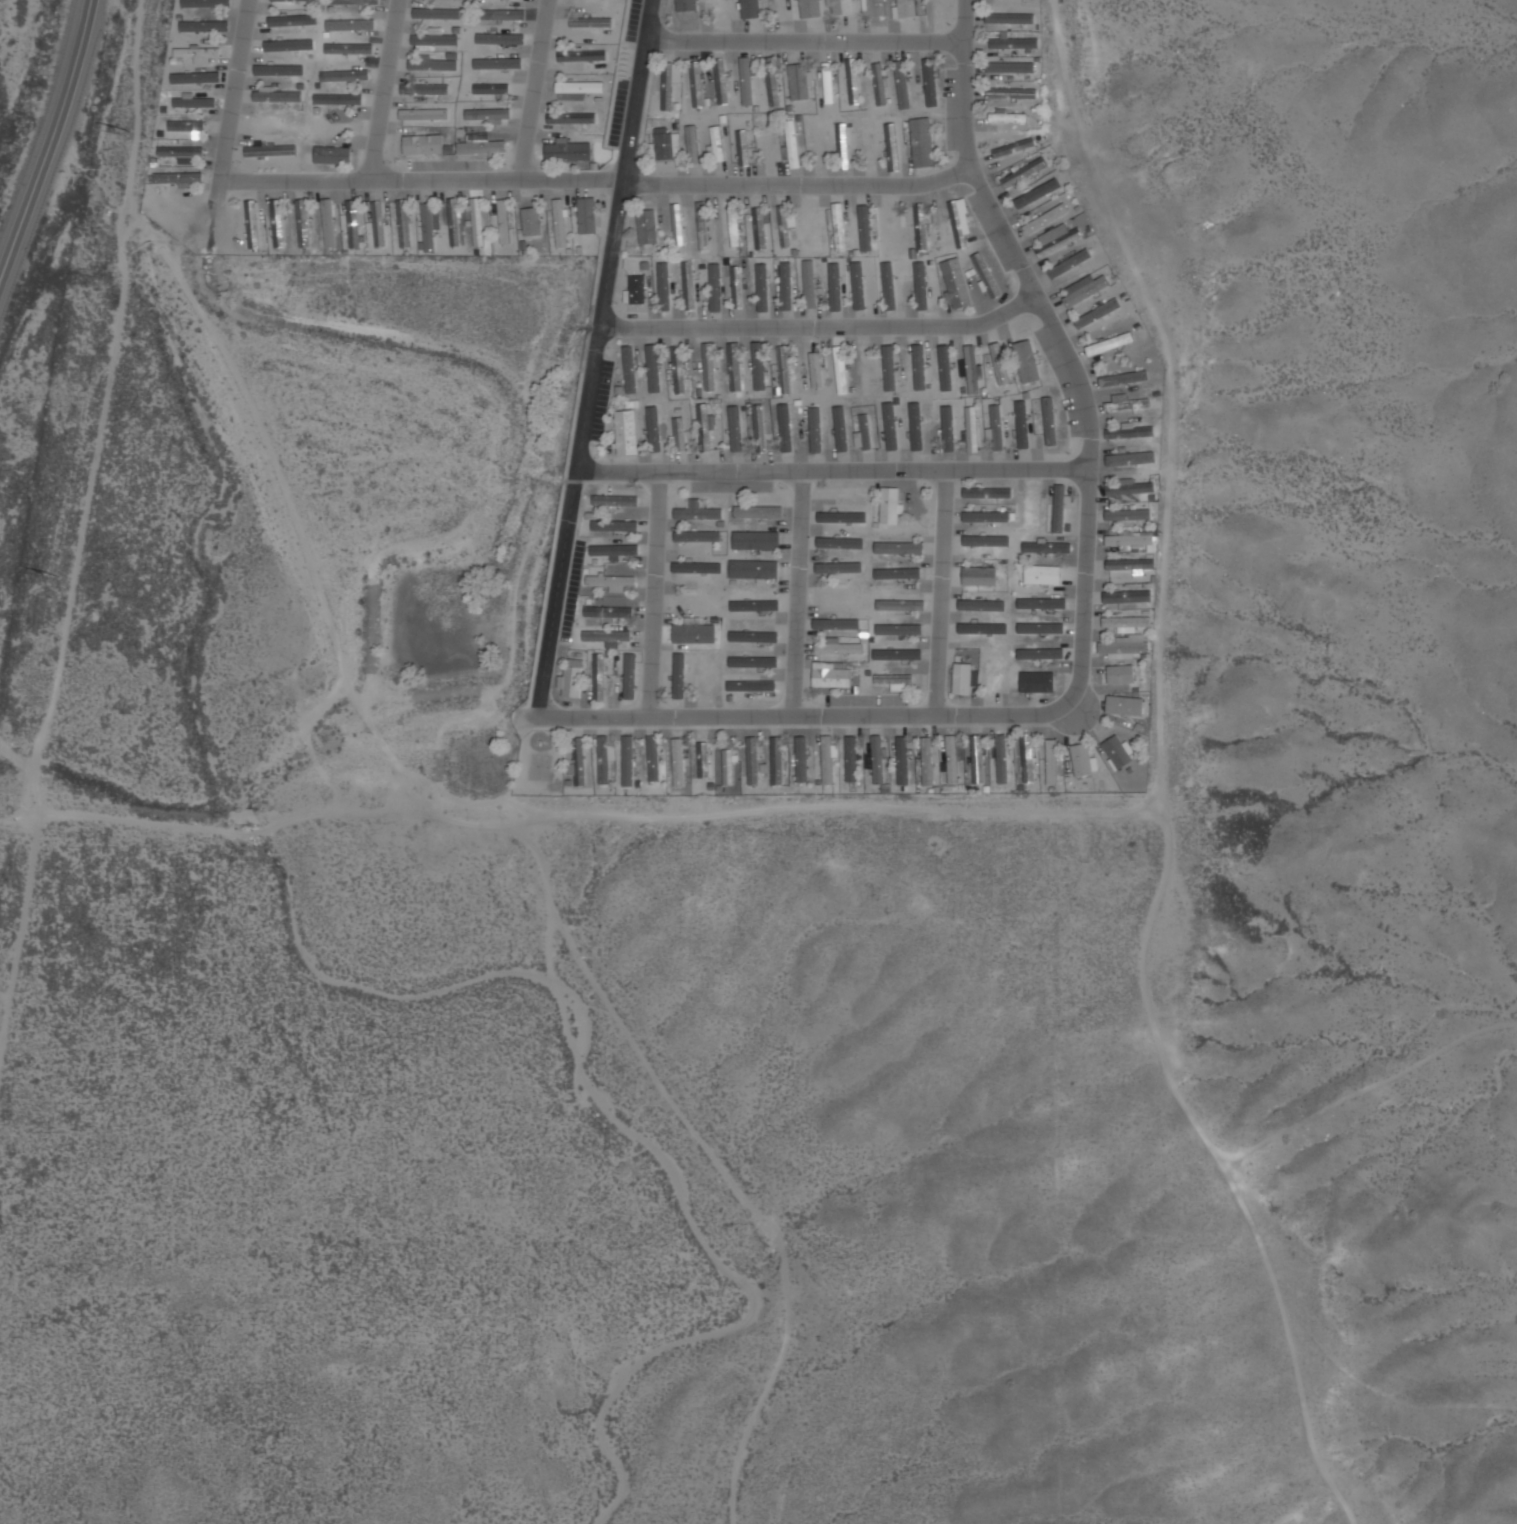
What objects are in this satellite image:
building: (295, 1)
building: (355, 2)
building: (876, 8)
building: (751, 9)
building: (720, 11)
building: (441, 13)
building: (502, 15)
building: (1011, 18)
building: (595, 23)
building: (441, 32)
building: (432, 38)
road: (812, 38)
building: (1015, 43)
building: (586, 55)
building: (432, 63)
building: (1011, 67)
building: (853, 80)
building: (772, 81)
building: (799, 83)
building: (880, 83)
building: (828, 84)
building: (666, 86)
building: (489, 88)
building: (424, 89)
road: (532, 89)
road: (233, 90)
road: (385, 90)
building: (1012, 93)
building: (280, 96)
building: (338, 98)
building: (491, 113)
building: (423, 114)
building: (1009, 117)
building: (268, 126)
power tower: (126, 133)
road: (51, 144)
building: (422, 144)
building: (481, 144)
building: (792, 144)
building: (768, 145)
building: (666, 146)
building: (842, 146)
building: (743, 147)
building: (923, 147)
building: (1013, 148)
building: (568, 151)
road: (598, 179)
building: (481, 214)
building: (381, 215)
building: (358, 216)
building: (587, 216)
building: (532, 222)
building: (560, 223)
building: (409, 225)
building: (734, 225)
building: (784, 225)
building: (647, 226)
building: (840, 227)
building: (921, 227)
building: (760, 228)
building: (458, 230)
building: (957, 283)
building: (809, 284)
building: (636, 289)
road: (821, 324)
building: (1108, 338)
road: (1064, 349)
road: (594, 358)
building: (1027, 362)
building: (1000, 364)
building: (735, 369)
building: (678, 370)
building: (760, 370)
building: (784, 370)
building: (841, 370)
building: (971, 370)
building: (1050, 421)
building: (1023, 422)
building: (997, 426)
building: (703, 427)
building: (760, 428)
building: (785, 428)
building: (972, 429)
building: (626, 432)
building: (679, 434)
road: (836, 470)
building: (1132, 487)
building: (986, 492)
building: (613, 497)
building: (889, 505)
building: (753, 510)
building: (898, 548)
building: (1047, 548)
building: (614, 550)
building: (1043, 575)
power tower: (54, 577)
building: (612, 582)
road: (940, 593)
road: (797, 594)
road: (653, 595)
building: (843, 596)
building: (609, 612)
building: (1130, 628)
building: (896, 655)
building: (576, 656)
building: (599, 678)
building: (831, 678)
building: (572, 682)
road: (807, 717)
building: (1119, 746)
building: (1087, 753)
building: (654, 759)
building: (878, 760)
building: (903, 760)
building: (952, 760)
building: (978, 760)
building: (1002, 760)
building: (604, 761)
building: (777, 761)
building: (802, 761)
building: (828, 761)
building: (852, 761)
building: (580, 762)
building: (927, 762)
building: (680, 763)
building: (729, 768)

